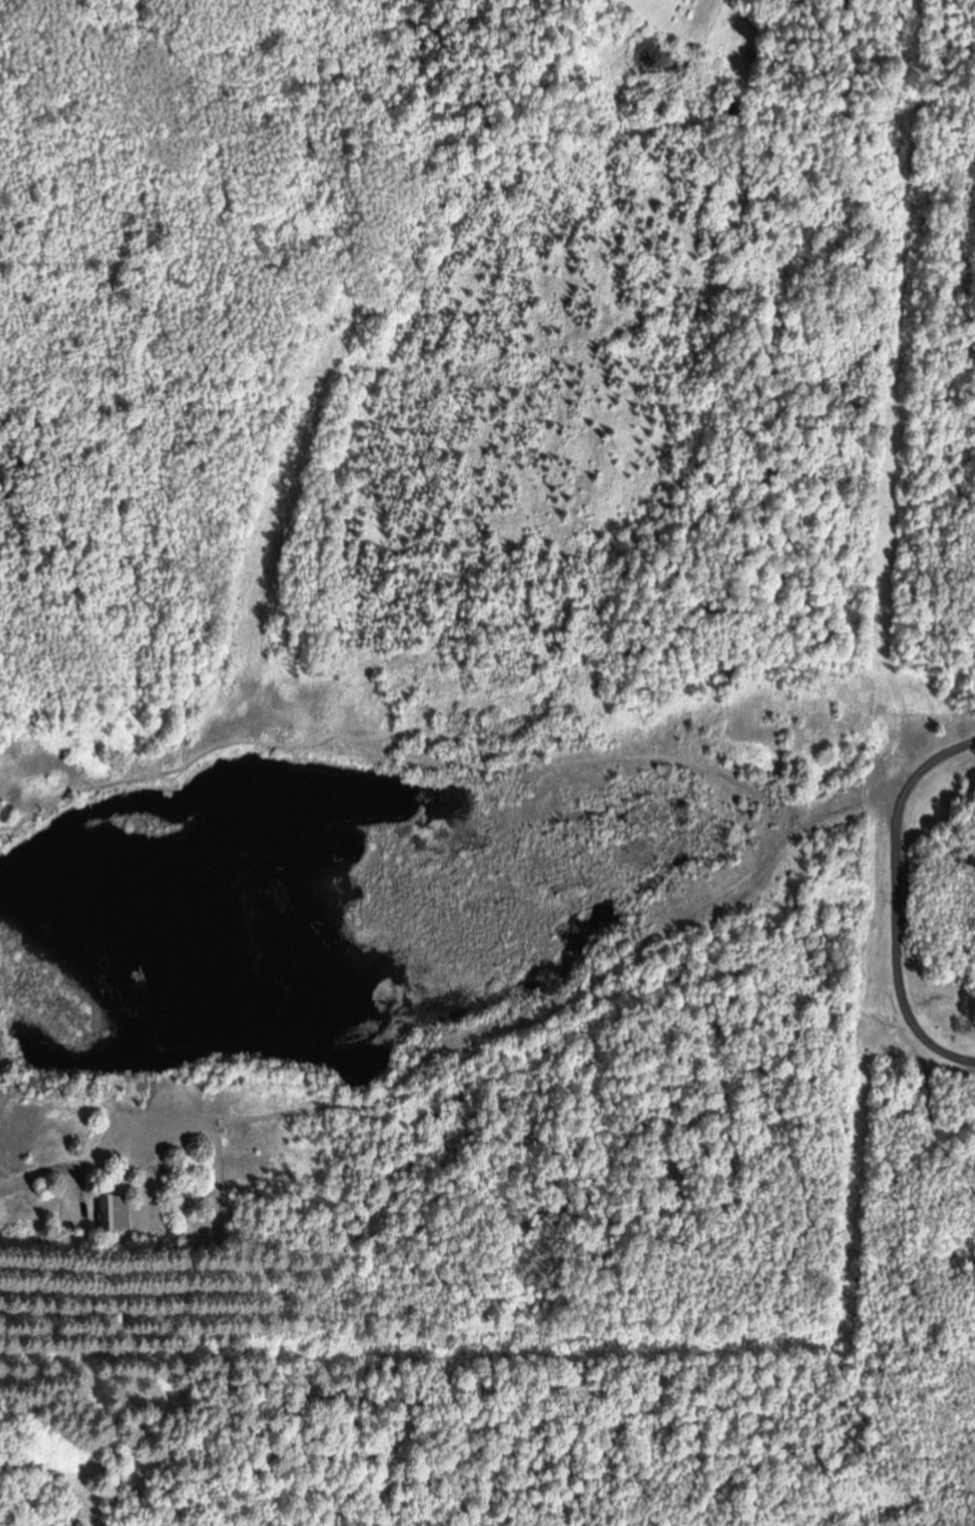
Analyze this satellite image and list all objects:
road: (899, 902)
road: (473, 1037)

